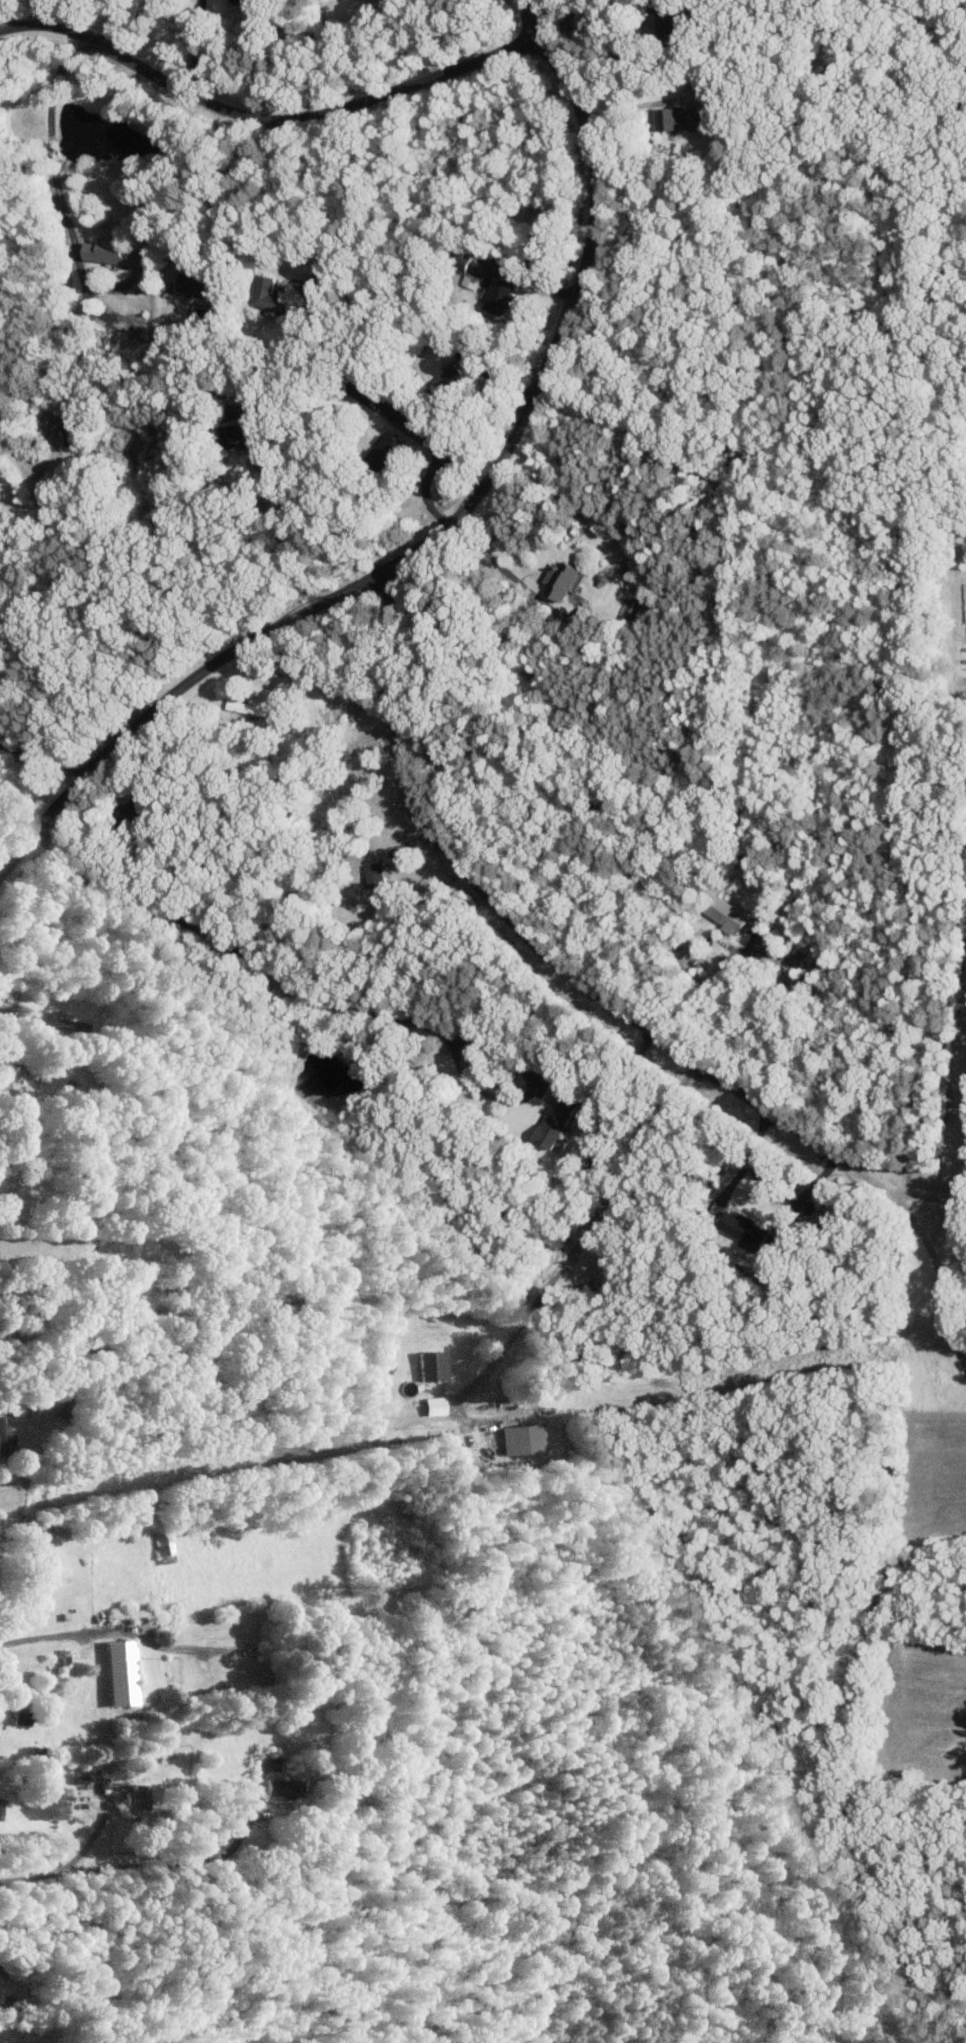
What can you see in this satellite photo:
building: (246, 3)
road: (580, 7)
road: (531, 19)
road: (112, 23)
building: (666, 27)
road: (412, 38)
road: (629, 108)
road: (267, 118)
building: (678, 120)
road: (54, 178)
road: (219, 202)
road: (352, 207)
building: (117, 253)
building: (472, 281)
building: (195, 285)
road: (106, 287)
building: (267, 295)
building: (500, 297)
building: (453, 378)
building: (52, 420)
building: (232, 434)
building: (387, 449)
road: (441, 450)
road: (423, 490)
road: (286, 522)
road: (432, 537)
road: (488, 556)
building: (560, 579)
building: (246, 708)
road: (42, 763)
building: (374, 875)
building: (724, 914)
building: (798, 956)
road: (706, 986)
road: (508, 996)
road: (330, 1004)
road: (613, 1005)
building: (50, 1022)
building: (7, 1075)
road: (603, 1100)
building: (554, 1125)
road: (807, 1195)
road: (920, 1196)
building: (19, 1199)
building: (746, 1230)
road: (580, 1238)
road: (35, 1247)
road: (103, 1356)
building: (431, 1366)
building: (521, 1439)
building: (5, 1440)
building: (165, 1543)
building: (120, 1673)
building: (285, 1789)
building: (137, 1799)
road: (92, 1841)
road: (154, 1865)

